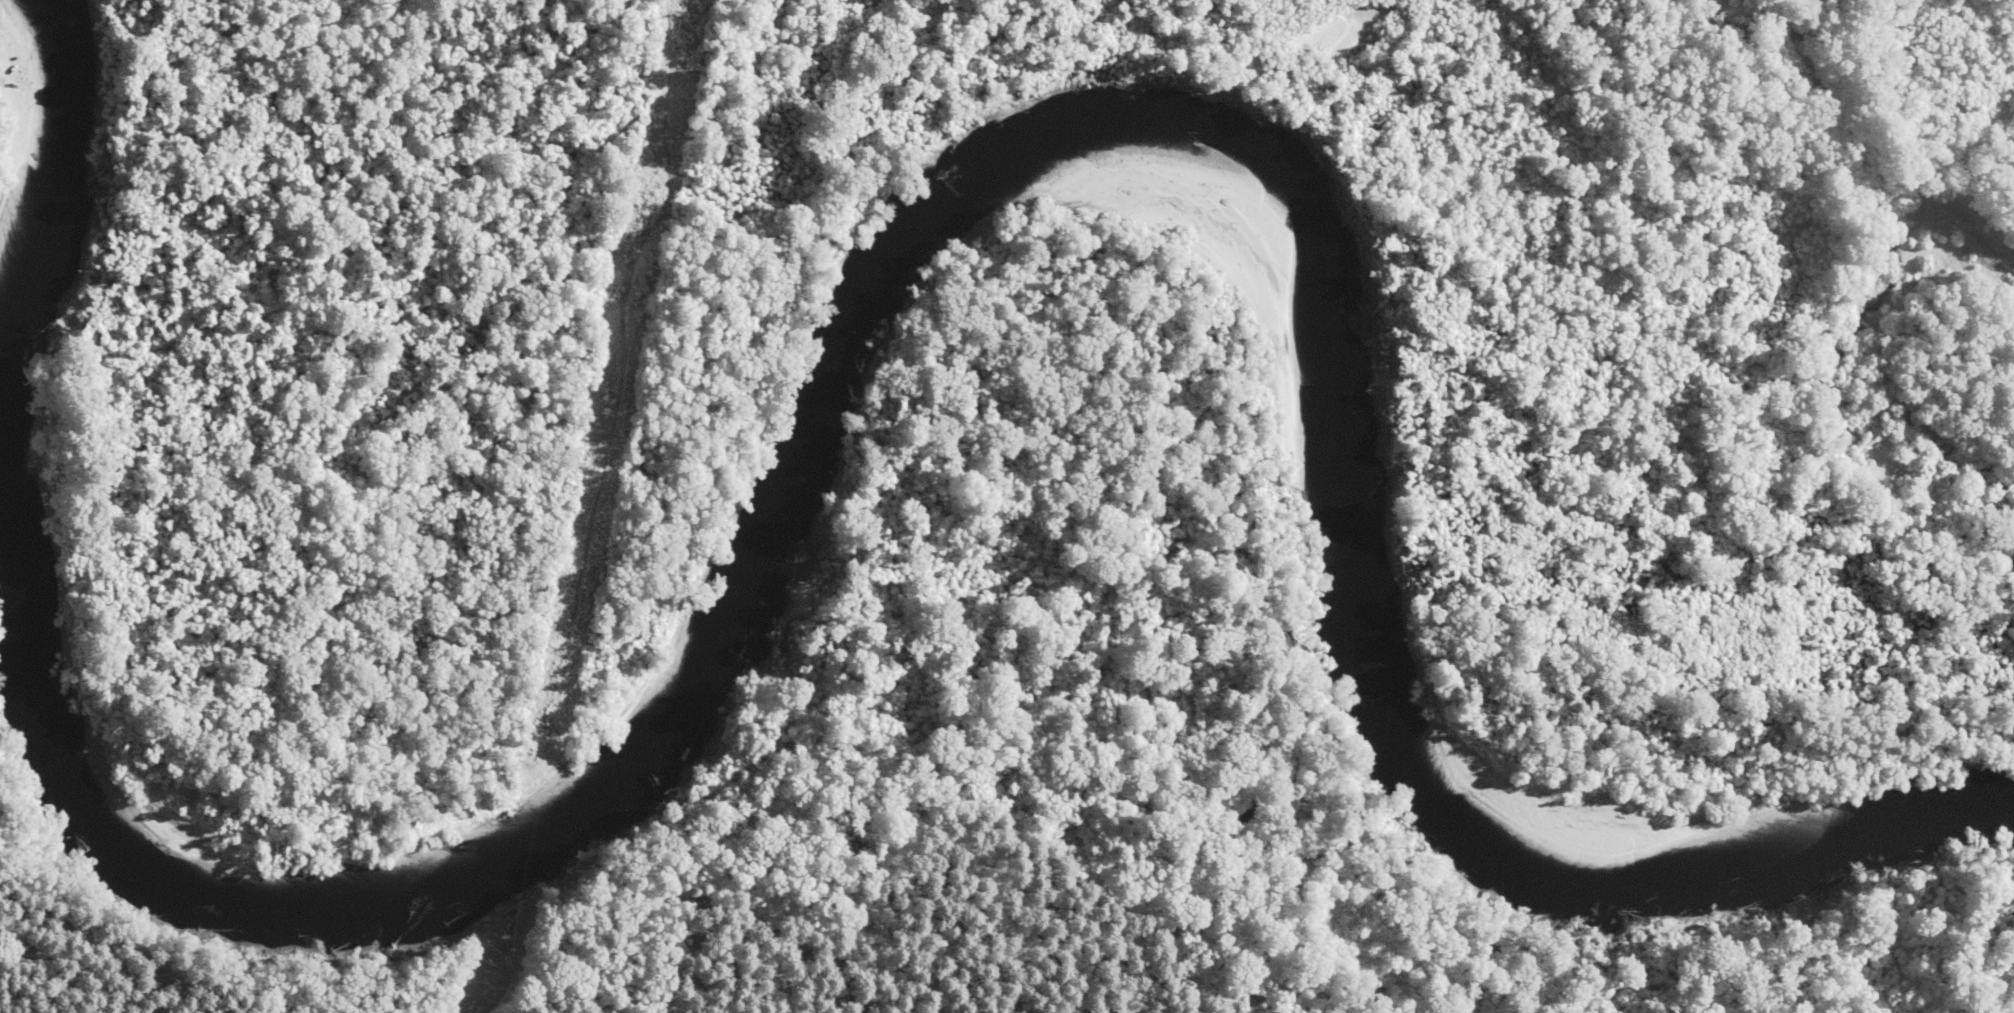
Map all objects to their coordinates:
river: (27, 171)
river: (958, 184)

